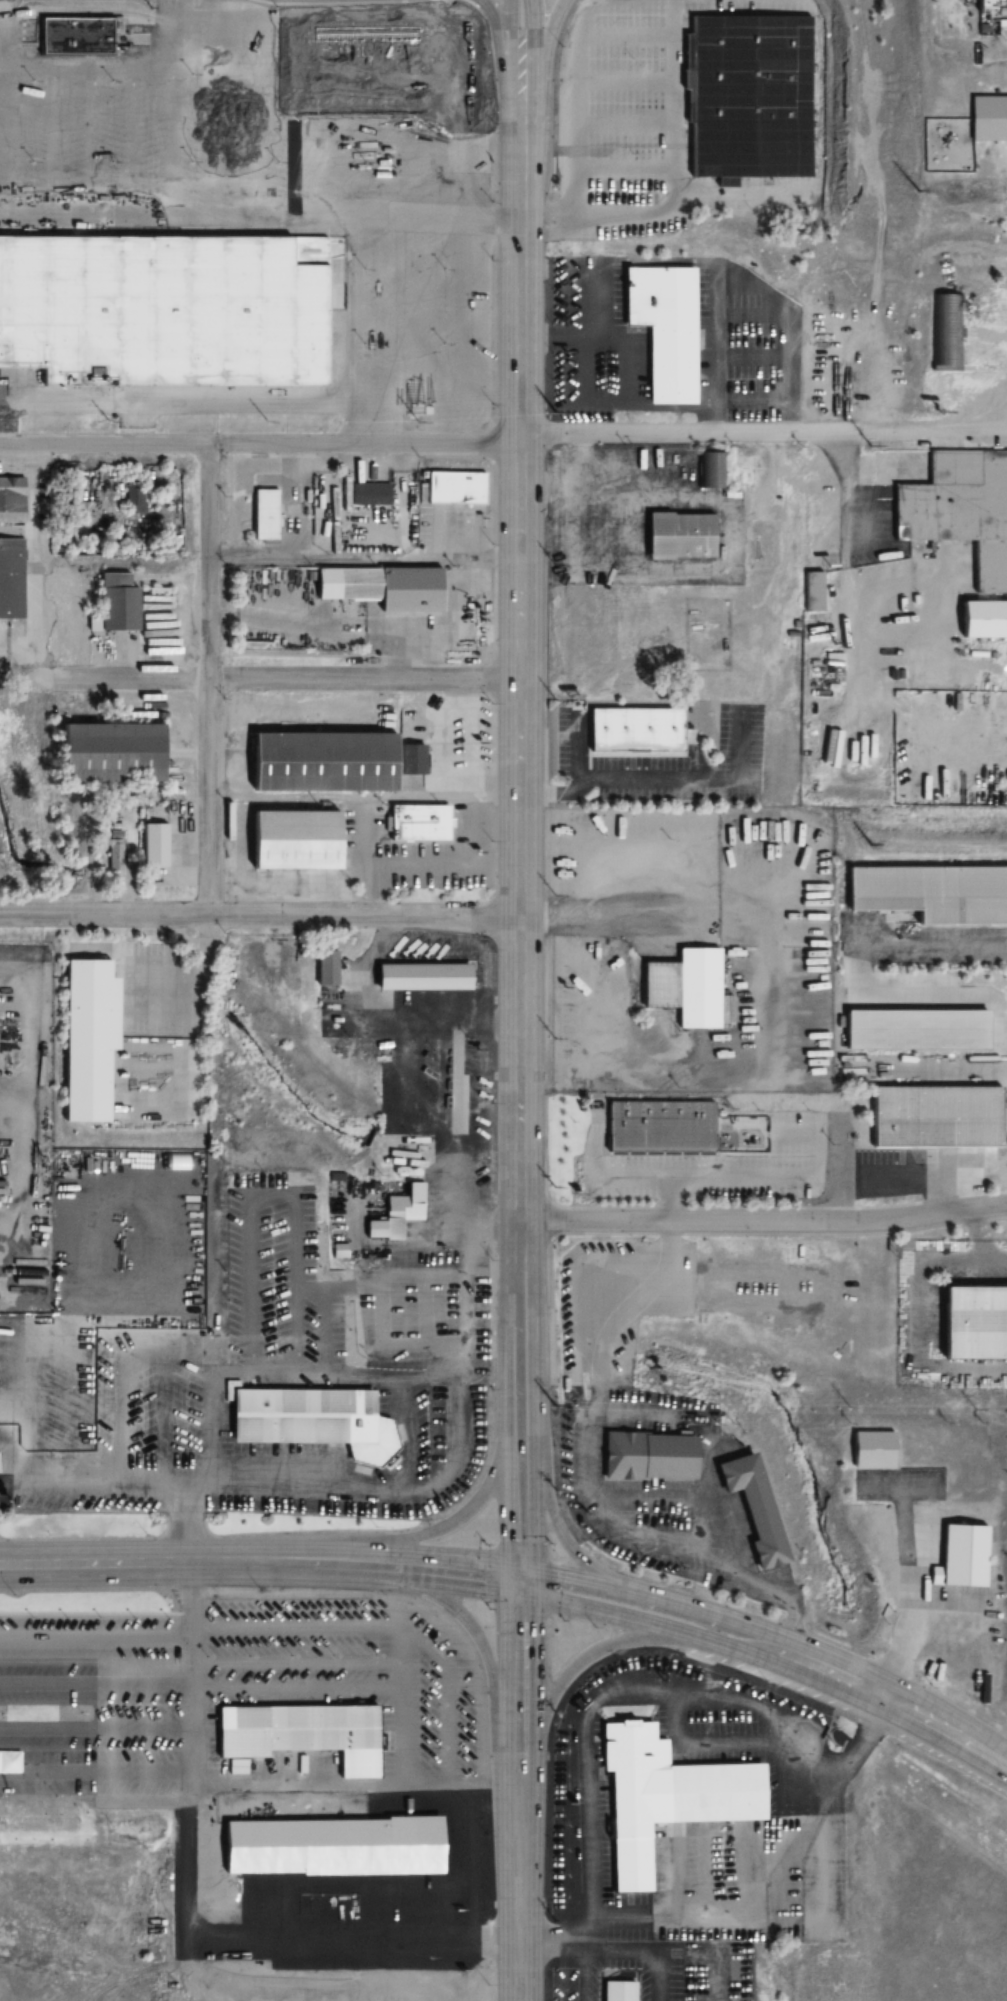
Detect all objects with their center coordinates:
road: (312, 1)
road: (479, 2)
building: (991, 15)
building: (79, 33)
road: (487, 45)
road: (498, 52)
road: (510, 53)
road: (545, 70)
building: (746, 96)
road: (534, 121)
road: (512, 174)
road: (681, 183)
power tower: (916, 190)
road: (258, 221)
building: (163, 306)
building: (663, 329)
building: (945, 332)
power tower: (550, 413)
road: (503, 441)
power tower: (868, 444)
building: (883, 460)
building: (709, 470)
building: (450, 489)
building: (368, 495)
building: (11, 500)
building: (136, 500)
building: (960, 510)
building: (263, 515)
building: (678, 536)
road: (366, 561)
building: (11, 579)
building: (380, 587)
building: (813, 591)
building: (111, 602)
building: (982, 619)
power tower: (832, 643)
road: (210, 678)
road: (280, 680)
power tower: (555, 699)
road: (520, 731)
building: (635, 731)
building: (108, 753)
building: (329, 762)
building: (417, 824)
building: (293, 840)
power tower: (862, 844)
building: (153, 845)
building: (929, 893)
road: (260, 914)
road: (643, 918)
building: (327, 968)
building: (420, 978)
building: (696, 989)
building: (914, 1030)
building: (87, 1038)
building: (934, 1117)
building: (660, 1129)
building: (401, 1210)
road: (764, 1222)
road: (521, 1299)
building: (973, 1324)
power tower: (555, 1407)
power tower: (678, 1407)
power tower: (848, 1409)
power tower: (976, 1410)
building: (317, 1415)
building: (871, 1451)
building: (646, 1456)
building: (2, 1458)
road: (521, 1479)
power tower: (555, 1491)
road: (548, 1506)
road: (473, 1507)
building: (752, 1511)
traffic signals: (521, 1538)
building: (960, 1558)
road: (172, 1564)
road: (432, 1570)
traffic signals: (485, 1577)
traffic signals: (559, 1577)
road: (656, 1595)
traffic signals: (520, 1622)
road: (648, 1622)
road: (492, 1668)
road: (559, 1685)
road: (897, 1702)
power tower: (556, 1713)
road: (519, 1719)
building: (307, 1730)
building: (673, 1796)
building: (340, 1842)
road: (520, 1929)
building: (629, 1990)

